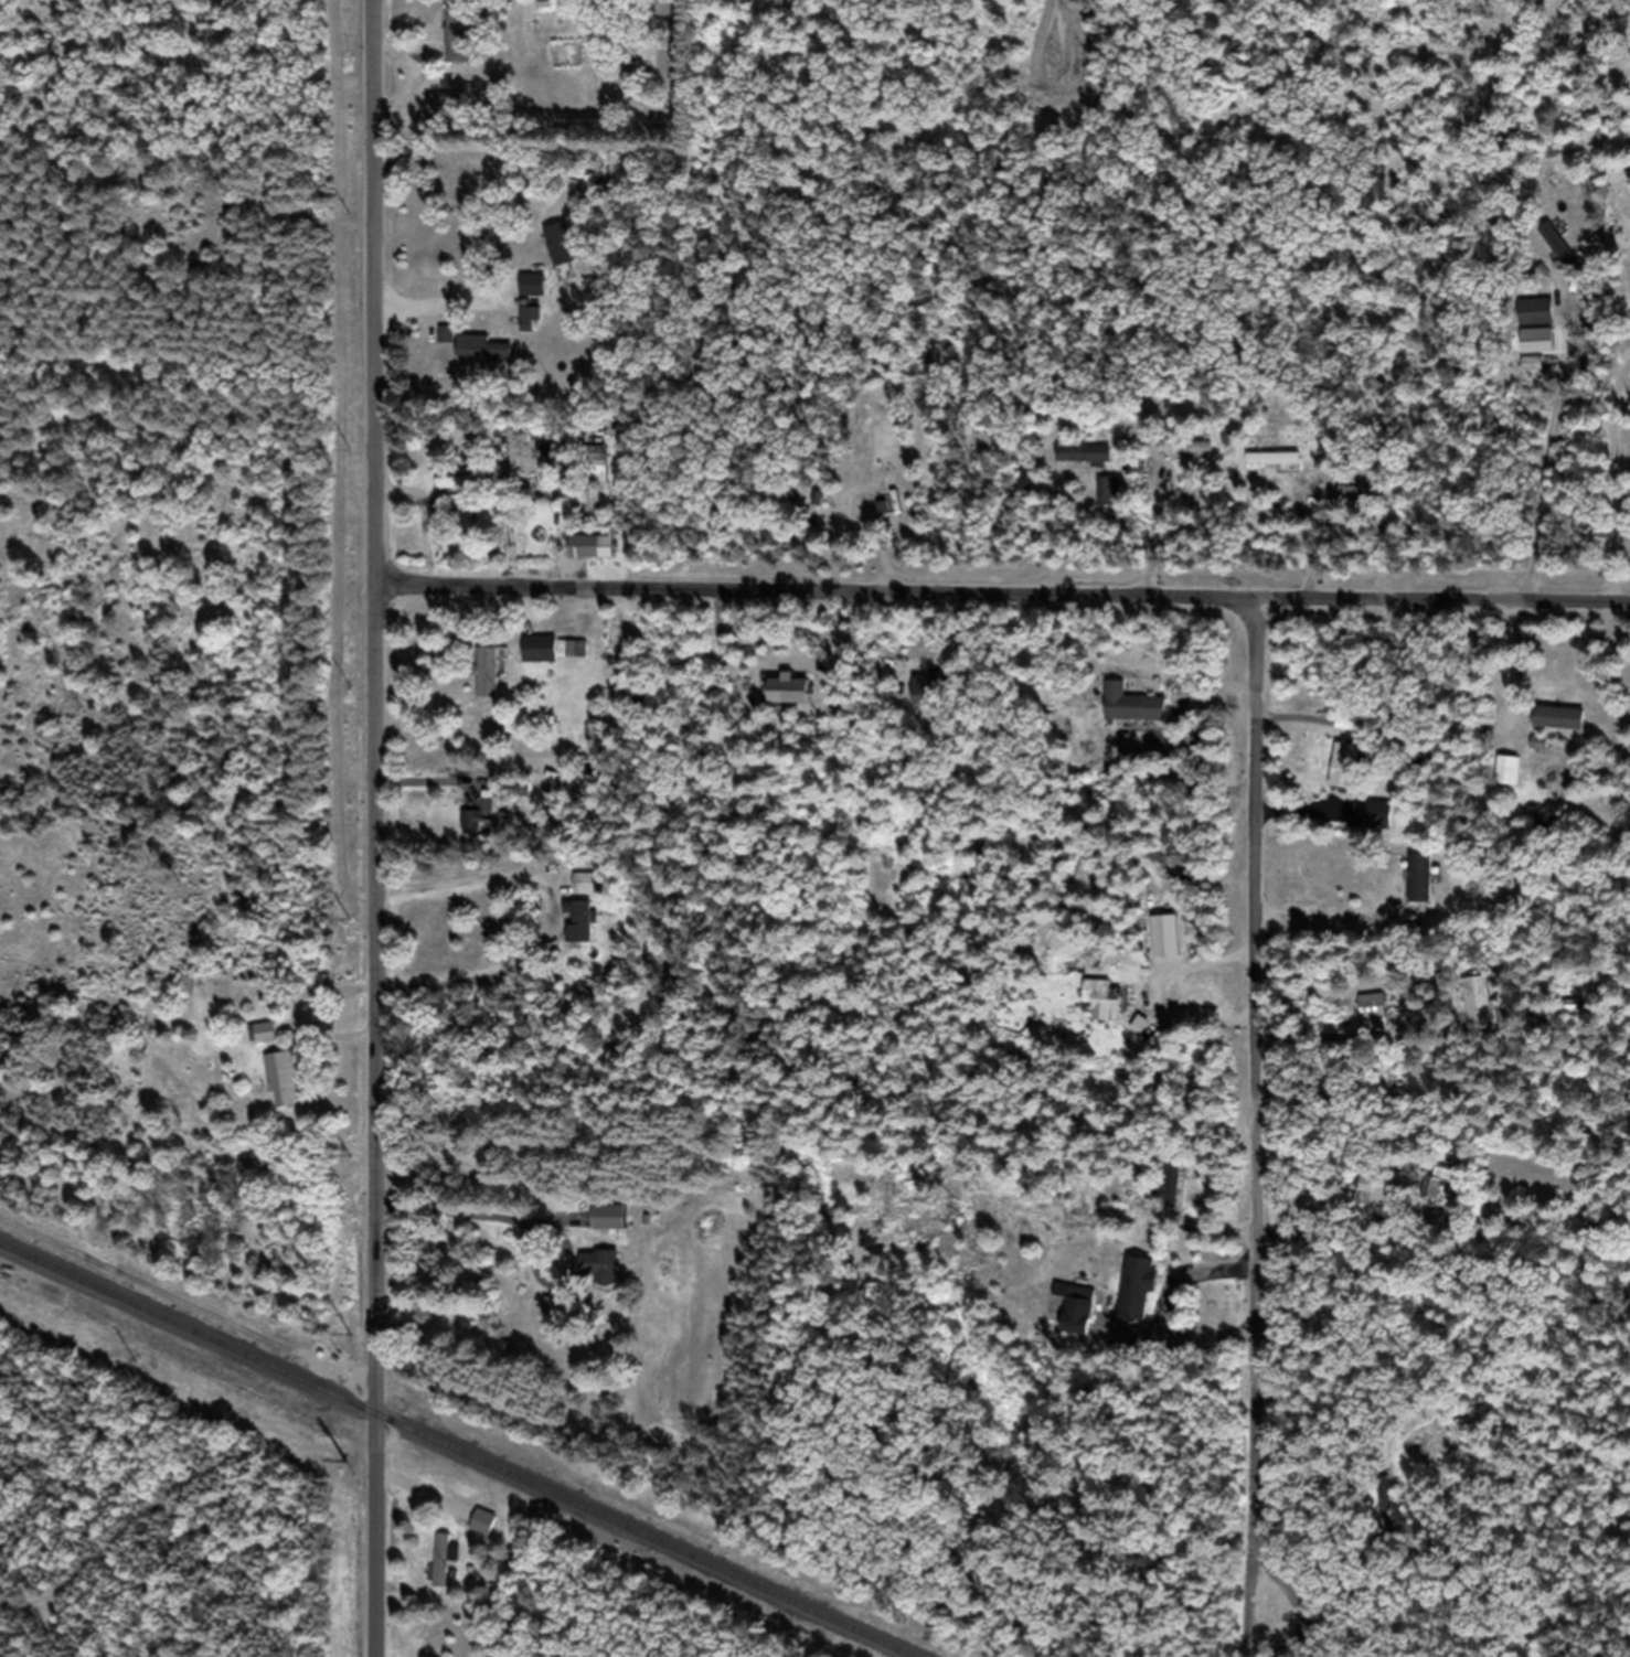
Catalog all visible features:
building: (544, 13)
building: (457, 47)
road: (1059, 50)
building: (445, 116)
building: (1585, 240)
building: (563, 255)
building: (1558, 256)
building: (1543, 322)
building: (482, 359)
building: (1229, 449)
building: (1189, 460)
building: (1083, 464)
building: (1275, 470)
building: (596, 471)
building: (460, 494)
building: (1111, 502)
building: (1359, 504)
building: (588, 557)
road: (1002, 605)
building: (555, 660)
building: (487, 684)
building: (921, 702)
building: (1121, 714)
building: (1556, 729)
building: (1343, 778)
building: (1506, 782)
building: (484, 824)
building: (1371, 826)
road: (376, 828)
building: (1419, 889)
building: (585, 895)
road: (1328, 913)
building: (579, 933)
building: (1025, 963)
building: (1099, 1002)
building: (1136, 1038)
building: (265, 1046)
building: (283, 1090)
road: (1254, 1116)
road: (185, 1183)
building: (1441, 1194)
building: (1168, 1199)
building: (1371, 1200)
road: (484, 1210)
building: (609, 1229)
building: (599, 1279)
building: (1136, 1301)
building: (1077, 1322)
railway: (446, 1454)
building: (1388, 1509)
building: (446, 1570)

